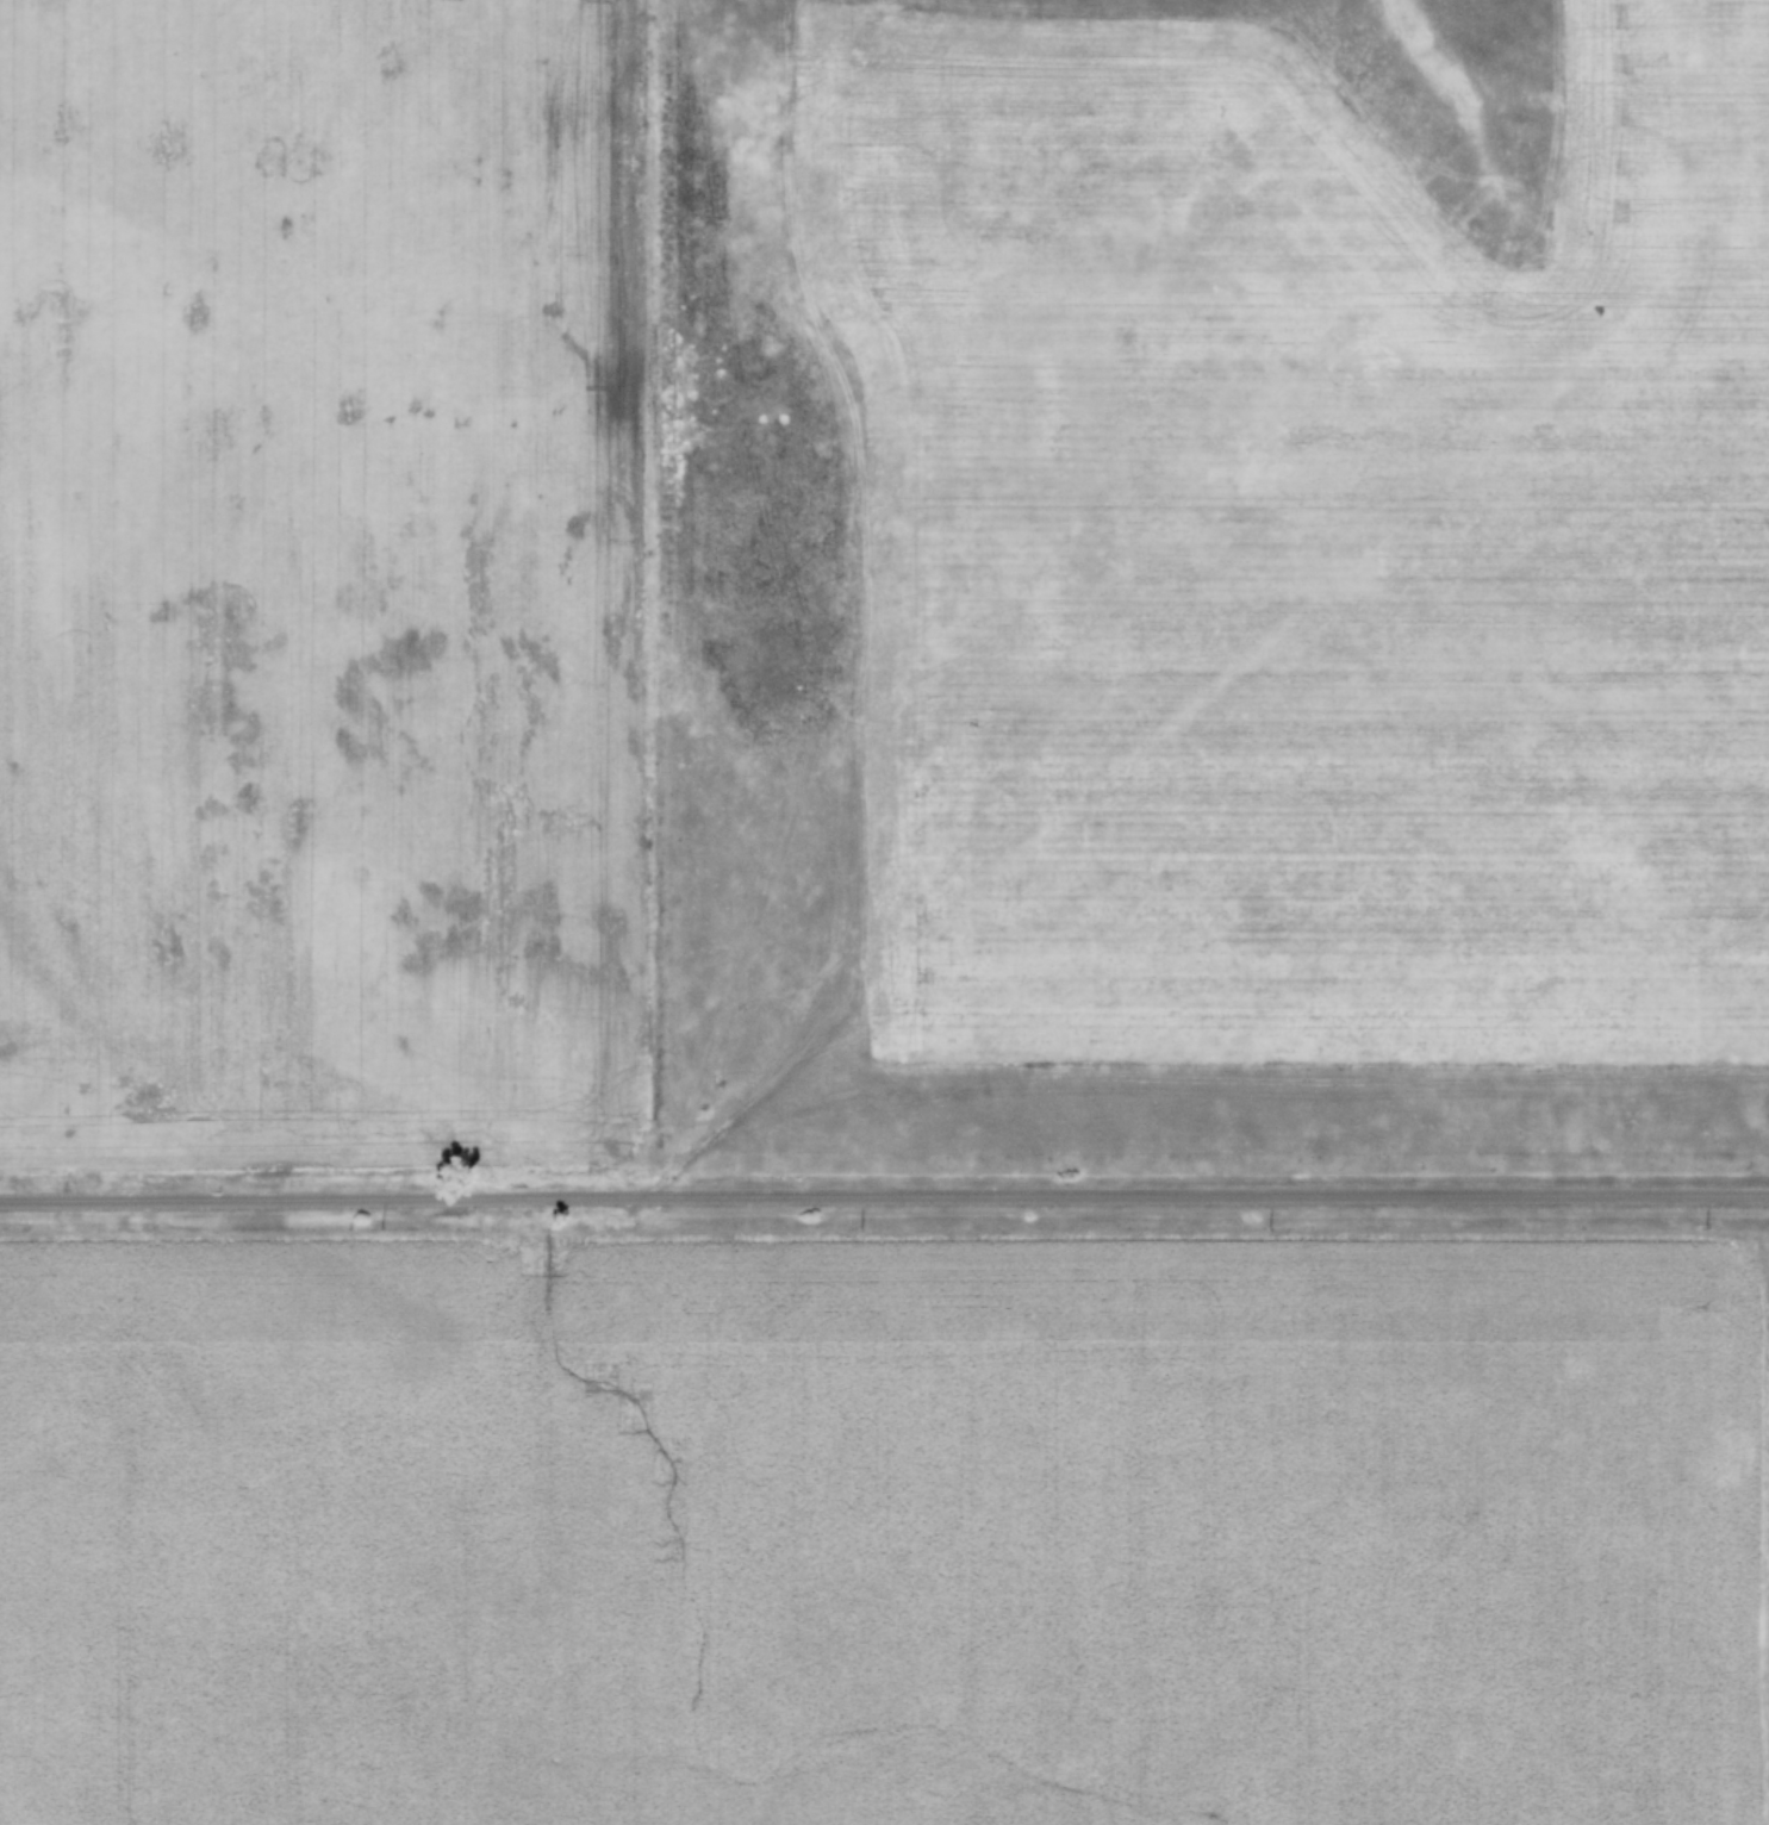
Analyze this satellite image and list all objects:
road: (884, 1196)

